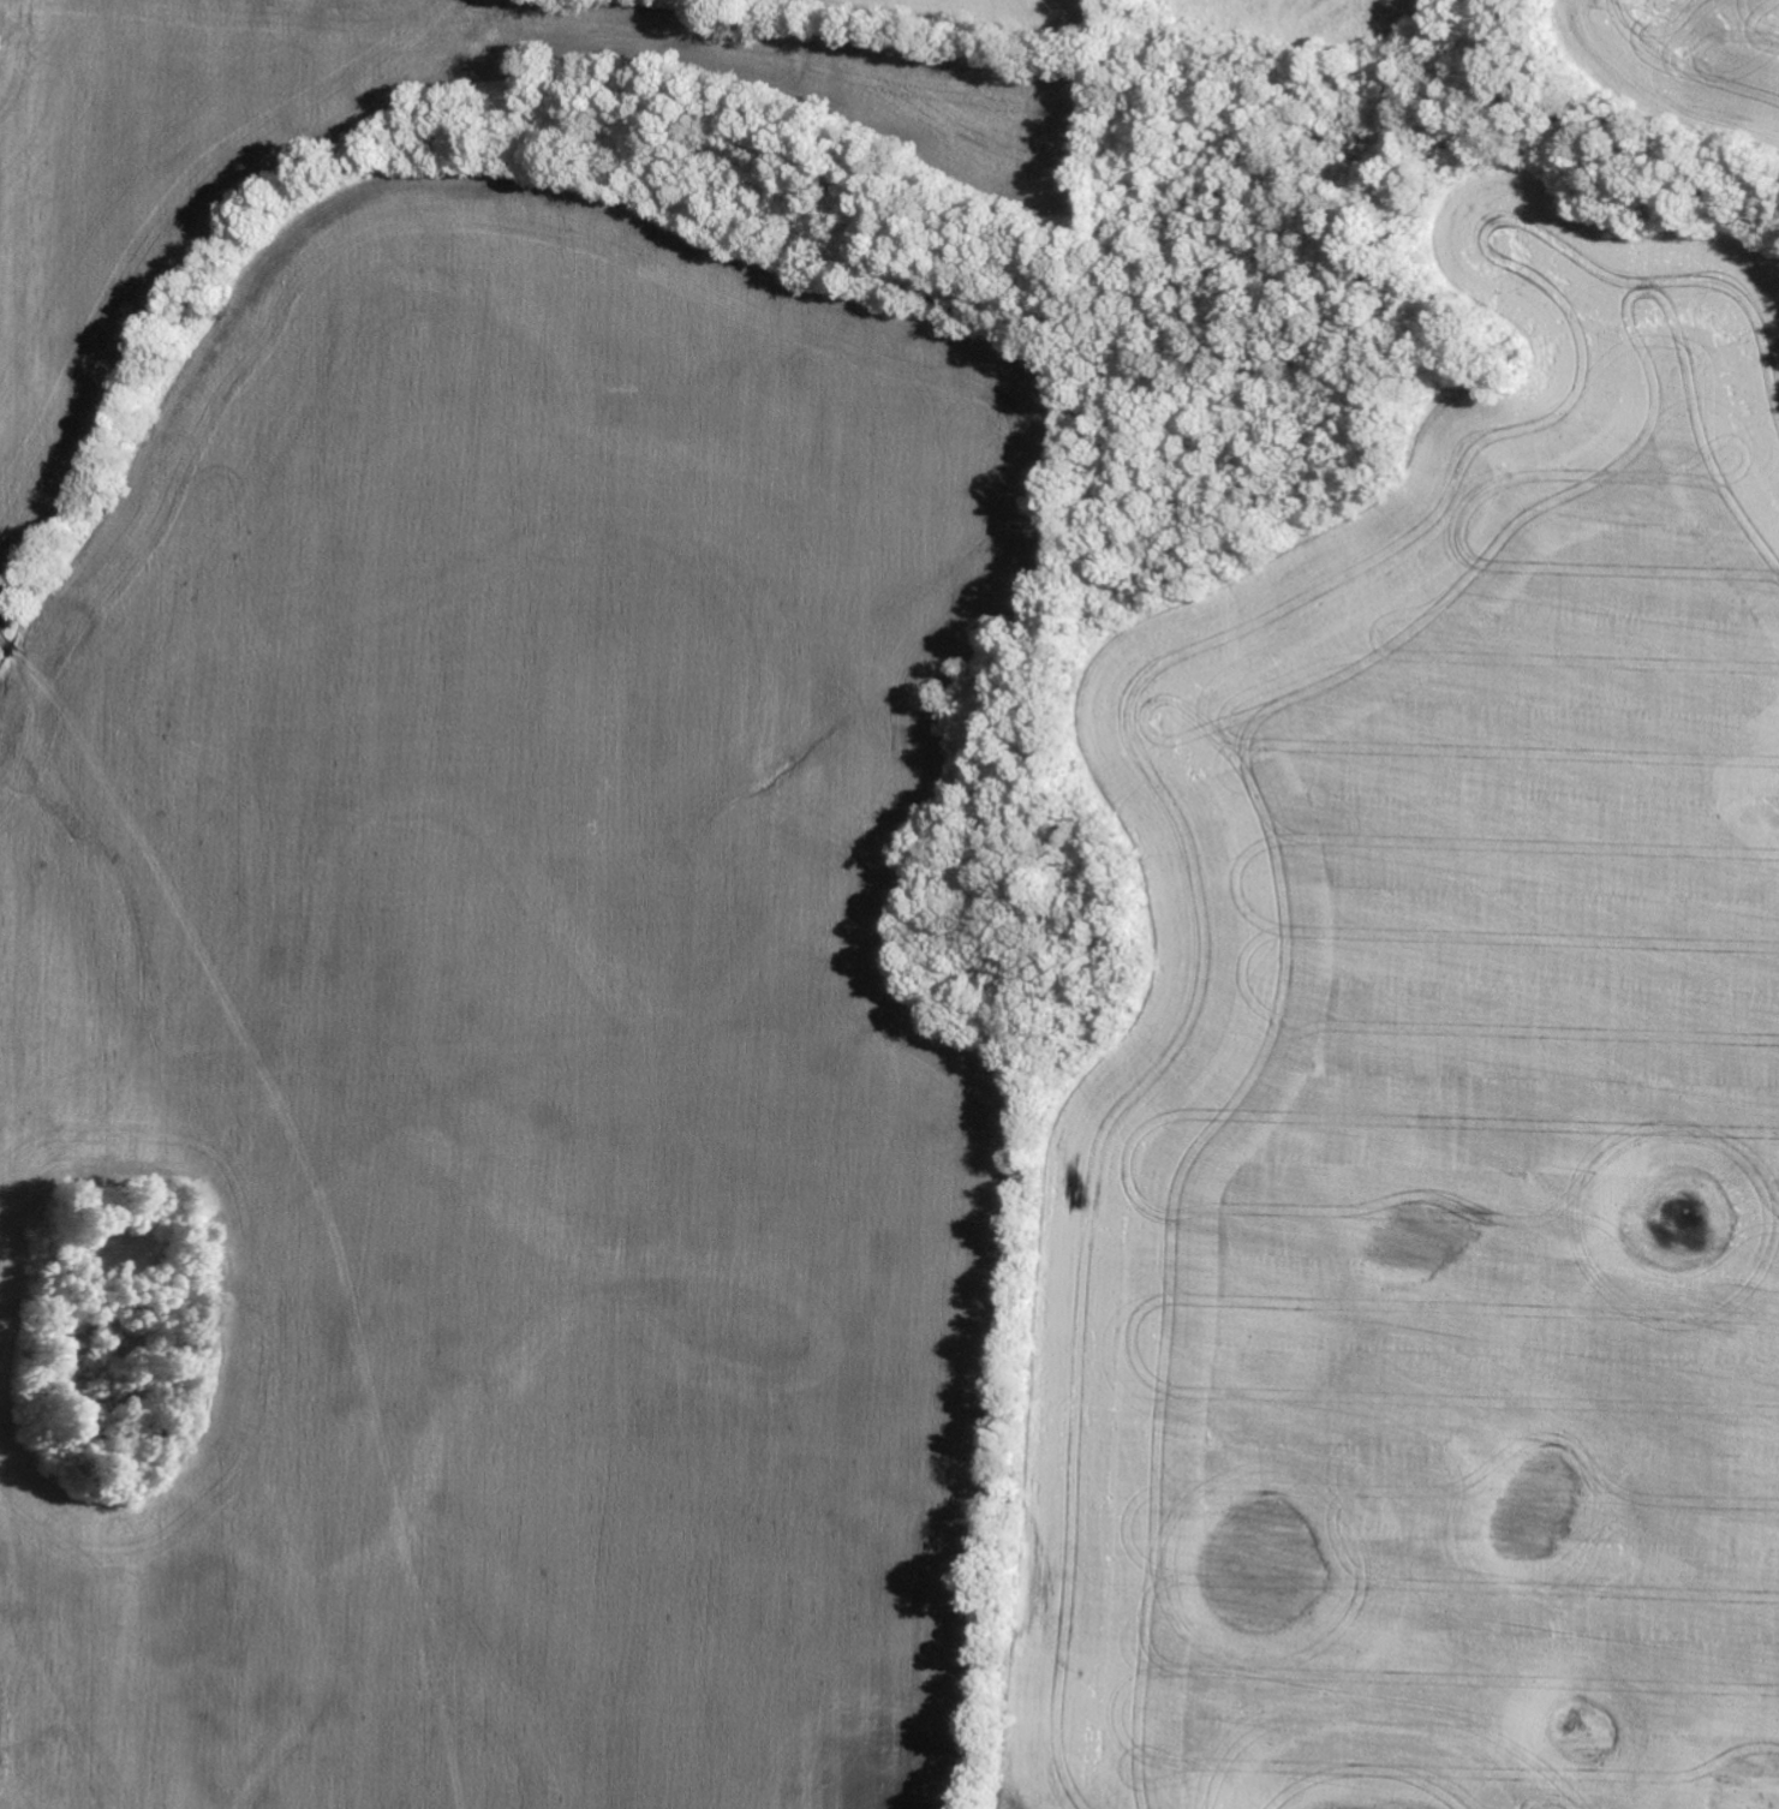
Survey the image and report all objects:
road: (293, 165)

